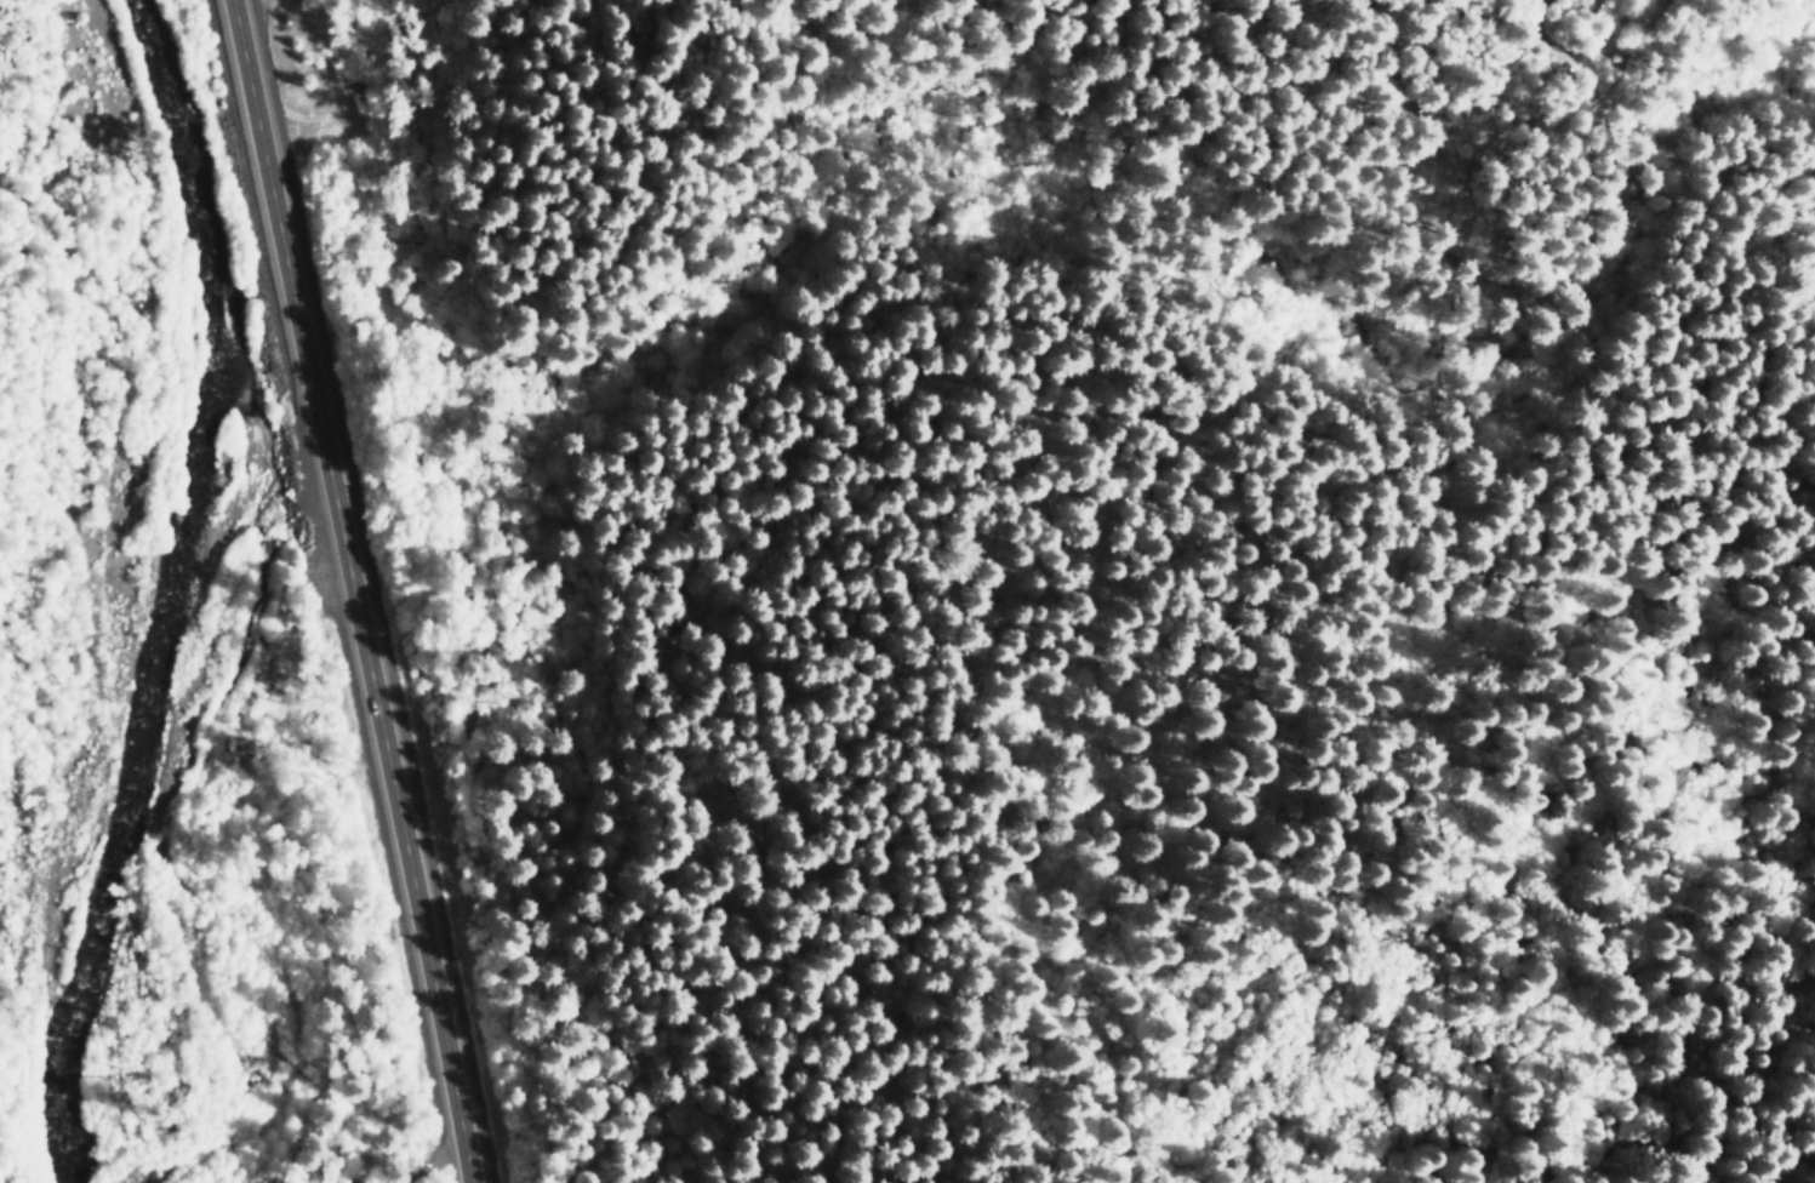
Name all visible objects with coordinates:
river: (173, 589)
road: (354, 591)

